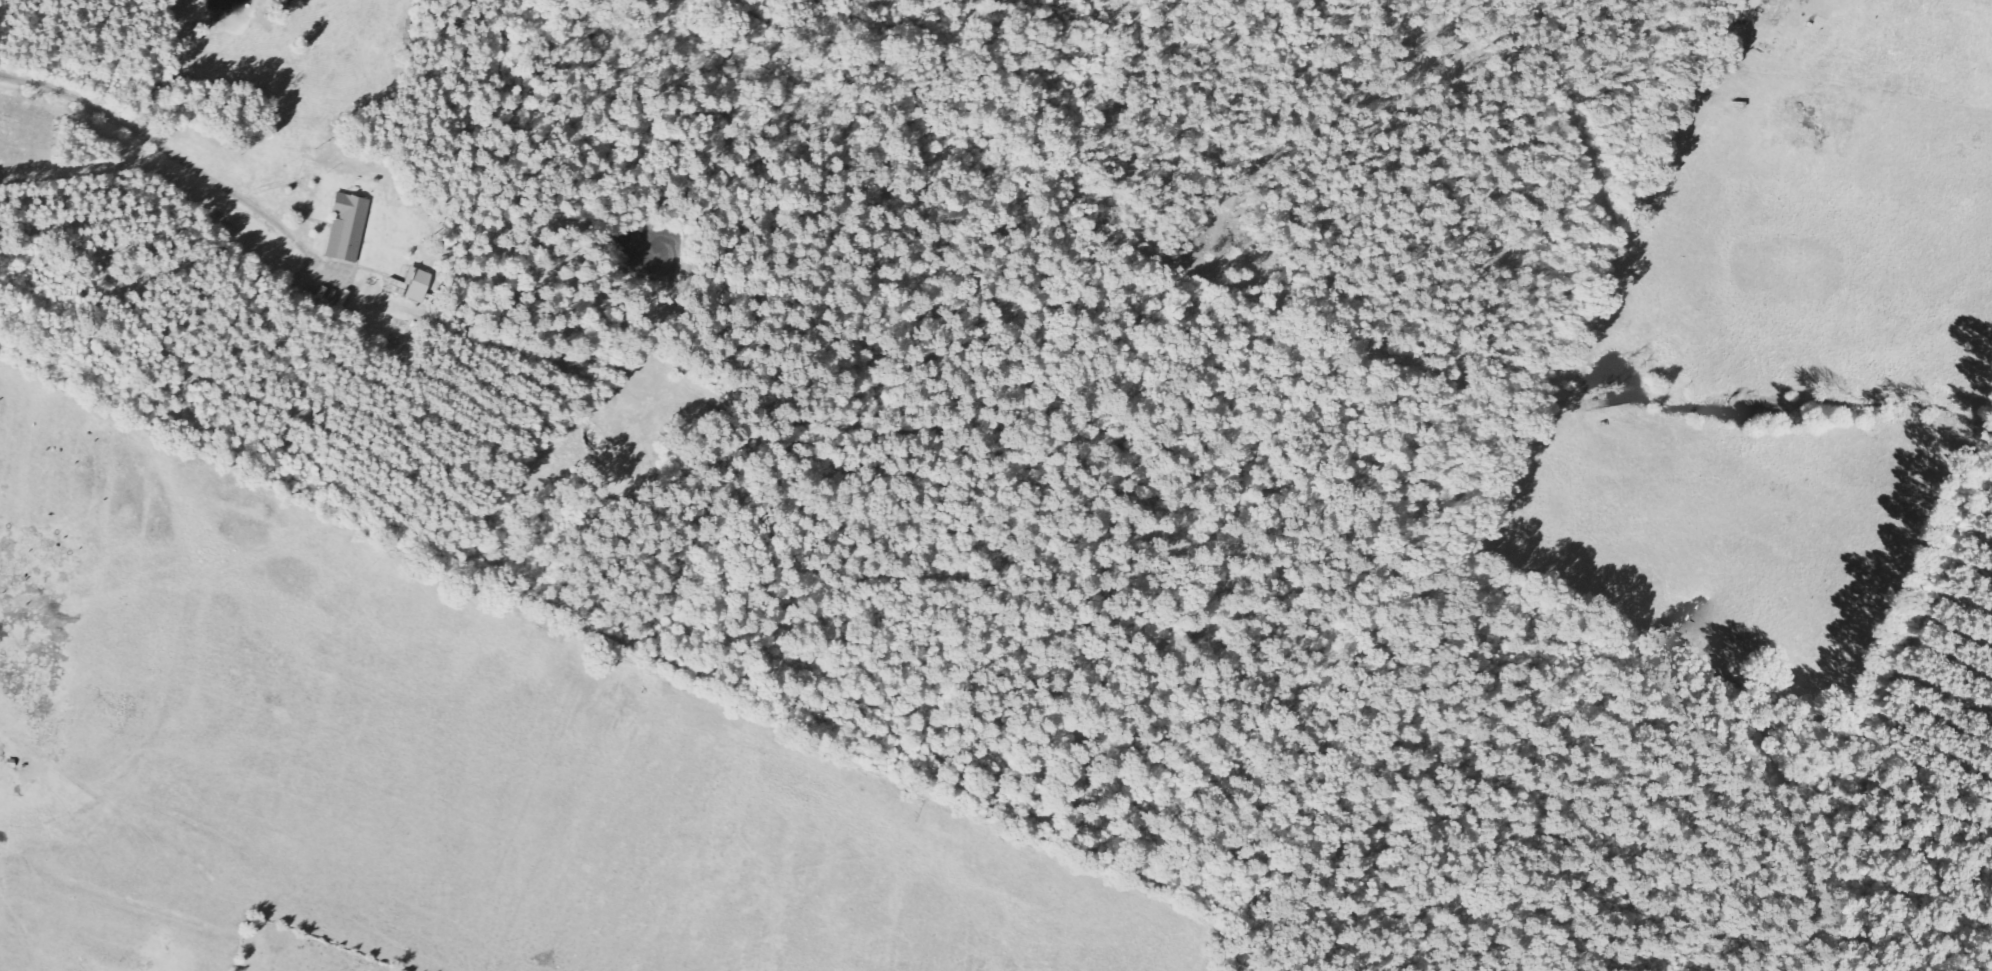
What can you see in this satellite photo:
building: (351, 228)
building: (417, 285)

